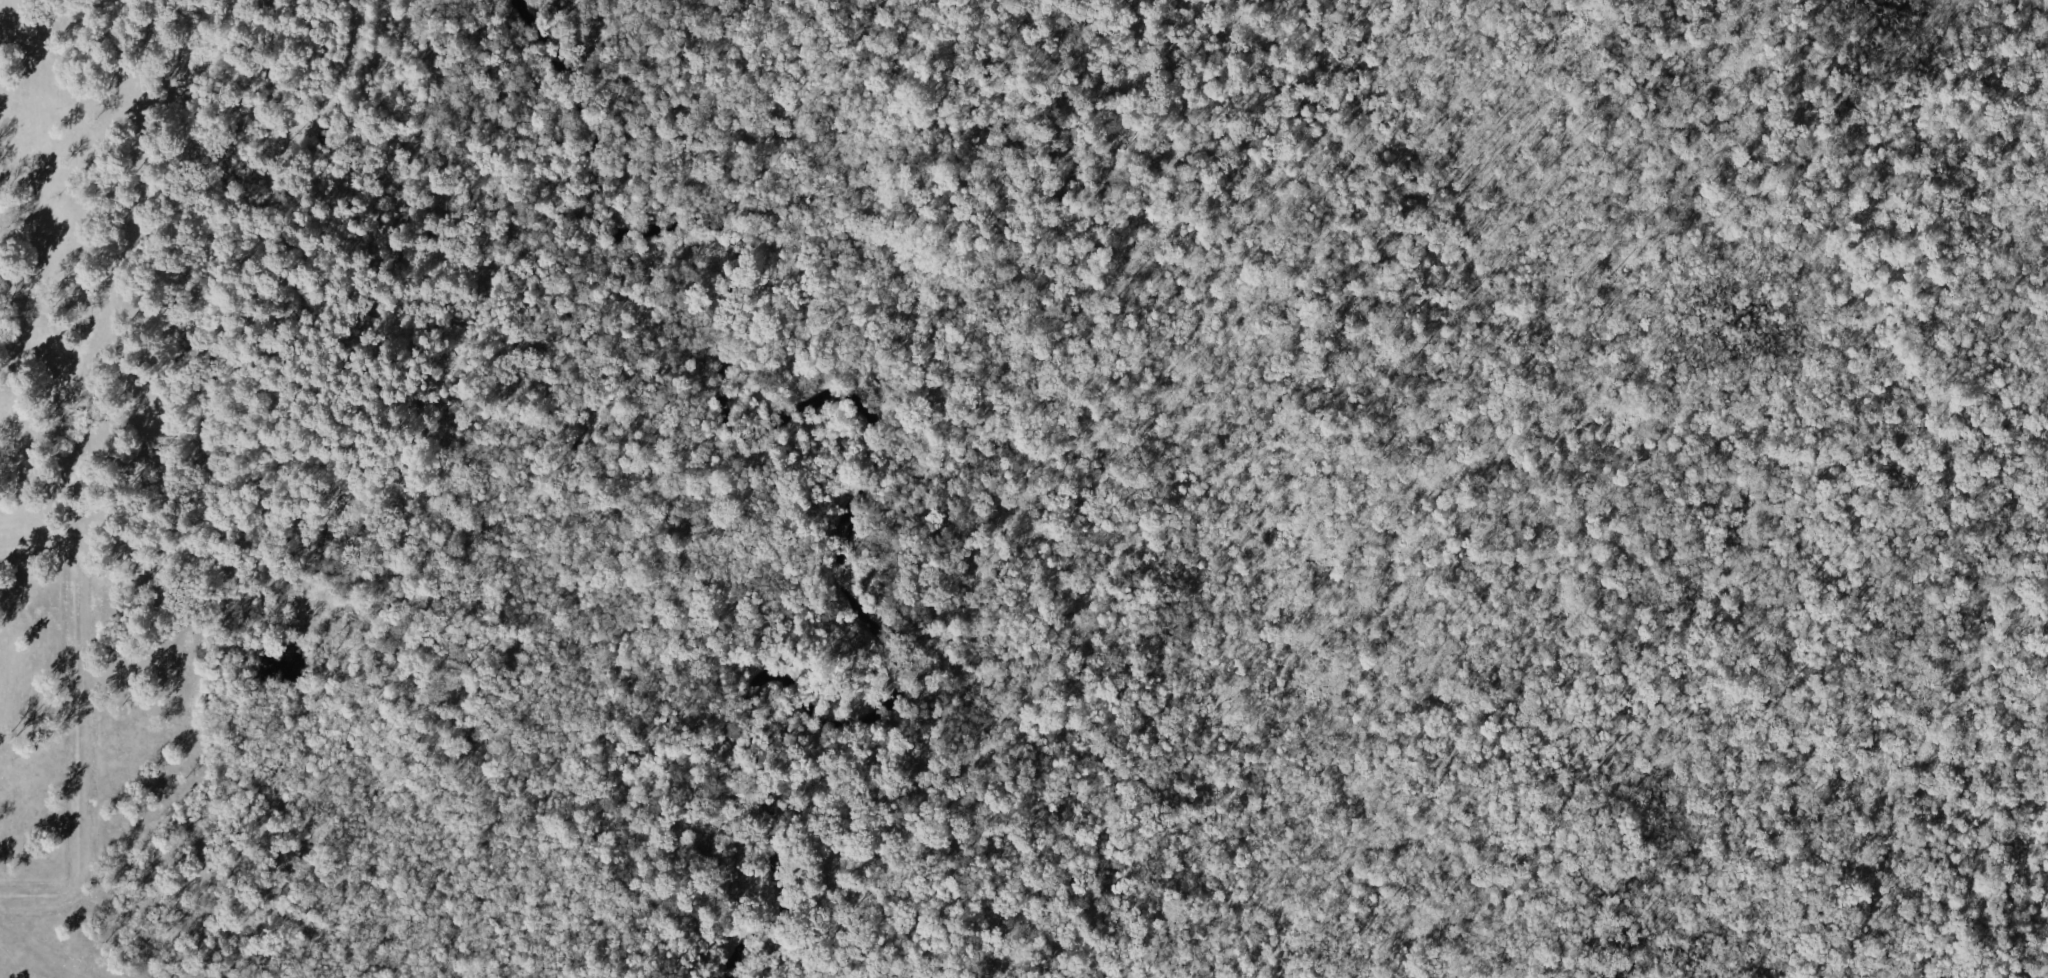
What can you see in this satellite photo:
road: (452, 350)
river: (874, 449)
park: (1024, 489)
road: (75, 717)

